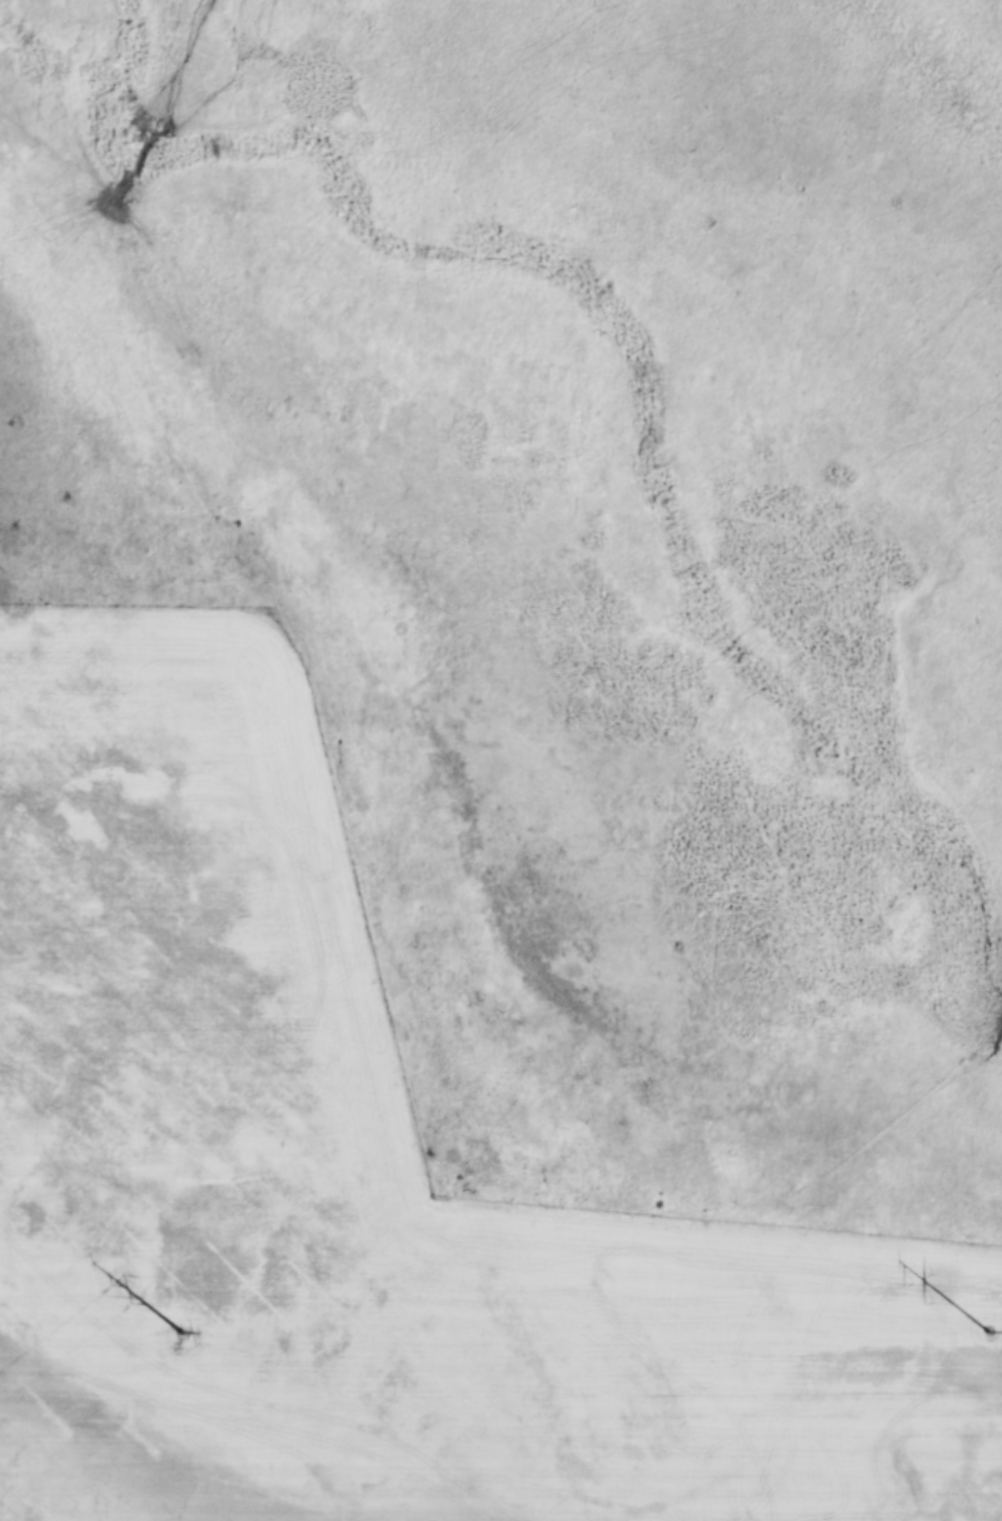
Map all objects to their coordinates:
power tower: (985, 1323)
power tower: (179, 1327)

